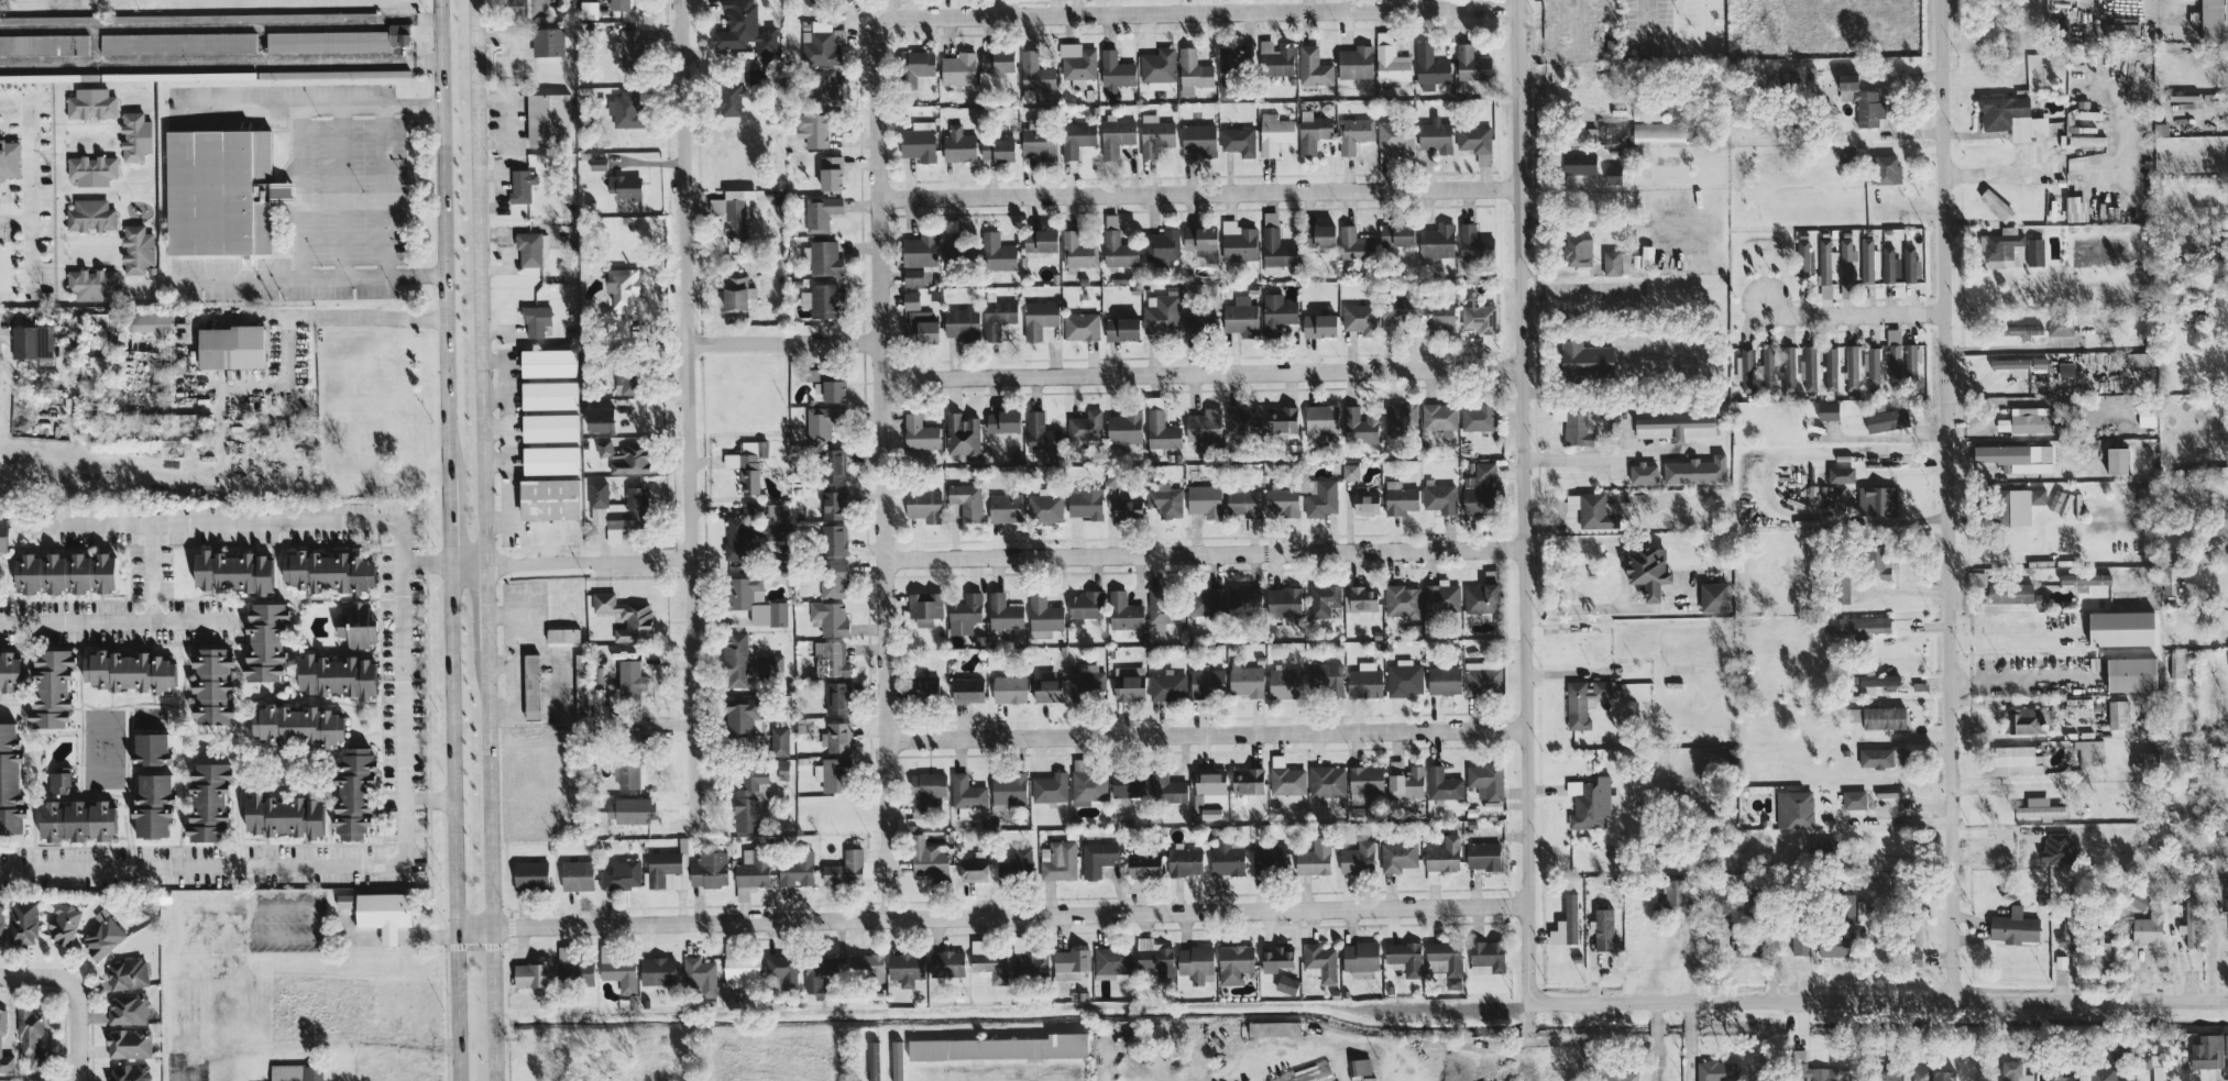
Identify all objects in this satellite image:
building: (846, 0)
building: (514, 4)
building: (618, 4)
road: (999, 8)
building: (588, 10)
road: (1200, 12)
road: (1709, 16)
road: (1648, 19)
building: (2214, 21)
road: (219, 24)
building: (743, 29)
building: (397, 33)
road: (1850, 33)
building: (326, 41)
building: (177, 42)
road: (408, 42)
building: (546, 42)
building: (44, 44)
building: (821, 44)
building: (628, 48)
building: (1275, 58)
building: (1390, 59)
building: (996, 60)
building: (1354, 62)
building: (1077, 63)
building: (1471, 63)
road: (219, 65)
building: (1313, 66)
building: (914, 67)
building: (1429, 67)
building: (957, 68)
building: (1157, 68)
building: (1193, 69)
building: (1115, 70)
building: (1034, 71)
building: (1228, 71)
building: (823, 88)
building: (729, 99)
building: (1861, 101)
building: (90, 103)
road: (309, 106)
building: (624, 109)
building: (1647, 110)
building: (2011, 117)
building: (547, 119)
building: (813, 129)
building: (2160, 130)
building: (1311, 131)
building: (1274, 133)
building: (1353, 133)
building: (1658, 133)
building: (1154, 135)
building: (1435, 135)
building: (1580, 135)
building: (134, 136)
building: (1116, 136)
building: (1075, 137)
building: (1395, 137)
building: (1198, 139)
building: (918, 141)
building: (1238, 141)
building: (1475, 142)
building: (1039, 143)
building: (957, 144)
building: (997, 150)
building: (9, 159)
building: (1580, 163)
building: (596, 164)
road: (2077, 164)
road: (30, 167)
building: (91, 169)
building: (1885, 169)
building: (830, 173)
building: (520, 185)
building: (623, 185)
road: (340, 190)
road: (385, 190)
building: (217, 191)
road: (1199, 195)
building: (1996, 203)
building: (2076, 209)
building: (820, 211)
building: (732, 213)
building: (89, 214)
road: (32, 232)
building: (1395, 234)
building: (1306, 236)
building: (1322, 238)
building: (1200, 240)
building: (1039, 241)
building: (1238, 241)
building: (1436, 241)
building: (1473, 242)
building: (1274, 245)
building: (1354, 245)
building: (1999, 245)
building: (1161, 246)
building: (136, 249)
building: (528, 249)
building: (1118, 250)
building: (1077, 251)
building: (1577, 251)
building: (2034, 251)
building: (996, 252)
building: (919, 257)
building: (824, 258)
building: (1869, 258)
road: (301, 260)
building: (1846, 260)
building: (1611, 262)
building: (1825, 264)
building: (1890, 265)
building: (1910, 265)
road: (250, 275)
building: (91, 284)
building: (622, 288)
building: (735, 291)
building: (820, 299)
building: (910, 299)
building: (1161, 312)
building: (1276, 312)
road: (1855, 315)
road: (362, 316)
building: (1240, 316)
building: (1391, 316)
building: (997, 317)
building: (1435, 317)
building: (1038, 318)
building: (1359, 318)
building: (146, 319)
building: (535, 319)
building: (1480, 319)
building: (961, 321)
building: (1199, 321)
building: (623, 324)
building: (1079, 324)
building: (1318, 324)
building: (920, 326)
building: (2060, 326)
building: (1120, 328)
building: (2020, 329)
road: (3, 331)
building: (31, 341)
road: (784, 342)
building: (229, 345)
building: (1899, 355)
building: (2142, 357)
building: (1584, 359)
building: (547, 362)
building: (1872, 363)
building: (2011, 364)
building: (1785, 365)
building: (1852, 365)
building: (96, 367)
building: (1808, 367)
building: (1831, 367)
road: (1201, 373)
building: (625, 380)
building: (832, 389)
building: (548, 394)
building: (1828, 409)
road: (689, 415)
building: (1400, 415)
building: (1438, 415)
building: (1477, 416)
building: (1281, 417)
building: (2145, 417)
building: (597, 418)
building: (1242, 418)
building: (1886, 418)
building: (2031, 419)
building: (1001, 420)
building: (1320, 420)
building: (821, 421)
building: (1360, 422)
building: (2002, 423)
building: (549, 426)
building: (1085, 426)
building: (1122, 427)
building: (1673, 427)
building: (1038, 430)
building: (1161, 430)
building: (919, 432)
building: (962, 434)
building: (602, 446)
road: (1607, 454)
building: (2016, 456)
building: (549, 459)
building: (628, 459)
building: (2116, 460)
building: (747, 463)
building: (833, 463)
road: (883, 470)
building: (1695, 470)
building: (1350, 471)
building: (1643, 472)
building: (1478, 489)
building: (1439, 496)
building: (1320, 497)
building: (548, 498)
building: (966, 499)
building: (1164, 499)
building: (1204, 499)
building: (1400, 499)
building: (1877, 499)
road: (1945, 499)
building: (1084, 500)
building: (1281, 500)
building: (1242, 501)
building: (1365, 501)
road: (1522, 501)
building: (831, 504)
building: (922, 504)
building: (1044, 505)
building: (2013, 505)
building: (617, 506)
building: (1005, 506)
building: (1127, 506)
building: (1593, 509)
road: (220, 521)
road: (446, 523)
building: (751, 532)
building: (2, 533)
building: (833, 539)
road: (483, 540)
road: (1204, 553)
road: (569, 560)
road: (425, 562)
building: (1877, 562)
building: (325, 570)
building: (1647, 570)
building: (230, 571)
building: (65, 572)
road: (151, 572)
road: (1621, 573)
building: (1976, 577)
building: (2085, 577)
building: (831, 578)
building: (2170, 580)
building: (1841, 588)
building: (742, 589)
building: (2009, 592)
building: (1482, 594)
building: (1441, 595)
building: (1712, 596)
building: (1322, 598)
building: (1243, 599)
building: (1360, 599)
building: (1402, 599)
building: (1283, 600)
building: (1205, 602)
building: (1085, 604)
building: (924, 607)
building: (1164, 608)
building: (1002, 611)
building: (776, 613)
building: (964, 613)
building: (1123, 613)
building: (1043, 615)
building: (2220, 617)
building: (637, 620)
road: (117, 621)
building: (355, 625)
building: (1864, 625)
building: (2121, 627)
building: (561, 633)
building: (263, 641)
building: (830, 658)
building: (734, 659)
building: (2178, 663)
building: (764, 668)
building: (124, 670)
building: (7, 671)
building: (2130, 673)
building: (333, 674)
building: (1482, 676)
building: (629, 677)
building: (1324, 677)
building: (1404, 677)
road: (2023, 679)
building: (1087, 680)
building: (1364, 680)
building: (1444, 680)
building: (1245, 681)
building: (1873, 681)
building: (579, 682)
building: (1128, 682)
building: (1206, 682)
building: (1284, 683)
building: (209, 685)
building: (529, 685)
building: (1166, 685)
building: (48, 687)
building: (921, 687)
building: (966, 688)
building: (1009, 688)
building: (1046, 690)
building: (836, 696)
building: (1584, 699)
building: (599, 705)
building: (2118, 713)
building: (1854, 714)
building: (1883, 716)
building: (742, 717)
building: (2023, 719)
building: (295, 725)
road: (1207, 736)
building: (837, 737)
building: (779, 740)
building: (149, 747)
building: (2089, 750)
building: (1883, 755)
building: (2011, 760)
building: (2145, 761)
building: (2224, 765)
building: (782, 768)
building: (832, 773)
building: (625, 774)
building: (1364, 779)
building: (1247, 780)
building: (1286, 780)
building: (1404, 780)
building: (1485, 780)
building: (9, 781)
building: (57, 781)
building: (1326, 782)
building: (1127, 783)
building: (1442, 783)
building: (1210, 784)
building: (1087, 785)
building: (1165, 786)
building: (1050, 787)
building: (1007, 788)
building: (924, 791)
building: (351, 792)
building: (966, 794)
building: (748, 796)
road: (427, 798)
building: (1854, 798)
building: (206, 802)
building: (1589, 802)
building: (150, 804)
building: (2039, 807)
building: (1793, 808)
building: (627, 809)
building: (1210, 813)
building: (281, 815)
road: (1884, 818)
building: (73, 819)
building: (2001, 848)
building: (1442, 854)
building: (1482, 854)
building: (1397, 856)
building: (928, 857)
building: (1269, 857)
building: (1314, 857)
building: (1357, 857)
building: (1097, 858)
building: (1226, 858)
building: (1057, 859)
building: (1021, 860)
building: (1183, 860)
building: (1142, 864)
road: (376, 867)
building: (973, 867)
building: (751, 868)
building: (794, 868)
building: (844, 868)
building: (707, 869)
building: (529, 873)
building: (575, 874)
building: (619, 874)
building: (1431, 875)
building: (1675, 891)
building: (2138, 901)
building: (1846, 906)
building: (378, 912)
road: (990, 916)
building: (22, 922)
building: (0, 923)
building: (63, 923)
building: (1566, 923)
building: (1914, 923)
building: (2189, 923)
building: (2013, 926)
building: (1603, 928)
building: (2148, 928)
building: (2068, 934)
building: (101, 936)
building: (1800, 940)
building: (1832, 945)
building: (1747, 947)
building: (2100, 947)
road: (2211, 951)
building: (1485, 956)
building: (1275, 957)
building: (1913, 957)
building: (1404, 958)
building: (1155, 959)
building: (1360, 959)
building: (1111, 960)
building: (1195, 961)
building: (945, 962)
building: (987, 962)
building: (1069, 962)
building: (1233, 962)
building: (1444, 962)
building: (904, 967)
building: (571, 969)
building: (656, 969)
building: (618, 970)
building: (781, 970)
building: (125, 972)
building: (530, 973)
building: (869, 973)
building: (698, 975)
building: (821, 975)
road: (40, 978)
building: (1286, 983)
road: (1878, 1001)
building: (127, 1008)
road: (1925, 1017)
building: (2, 1022)
building: (1274, 1027)
road: (80, 1029)
building: (30, 1036)
road: (1695, 1040)
building: (128, 1043)
building: (2226, 1044)
building: (1000, 1047)
building: (2207, 1051)
road: (1914, 1057)
building: (872, 1060)
building: (896, 1060)
building: (6, 1061)
road: (456, 1065)
building: (1810, 1068)
building: (1361, 1069)
road: (187, 1070)
building: (1715, 1070)
road: (1396, 1071)
building: (2013, 1071)
building: (127, 1072)
building: (295, 1072)
building: (1306, 1073)
building: (1919, 1073)
building: (2101, 1073)
building: (1618, 1074)
building: (1885, 1074)
building: (1942, 1076)
building: (2057, 1077)

